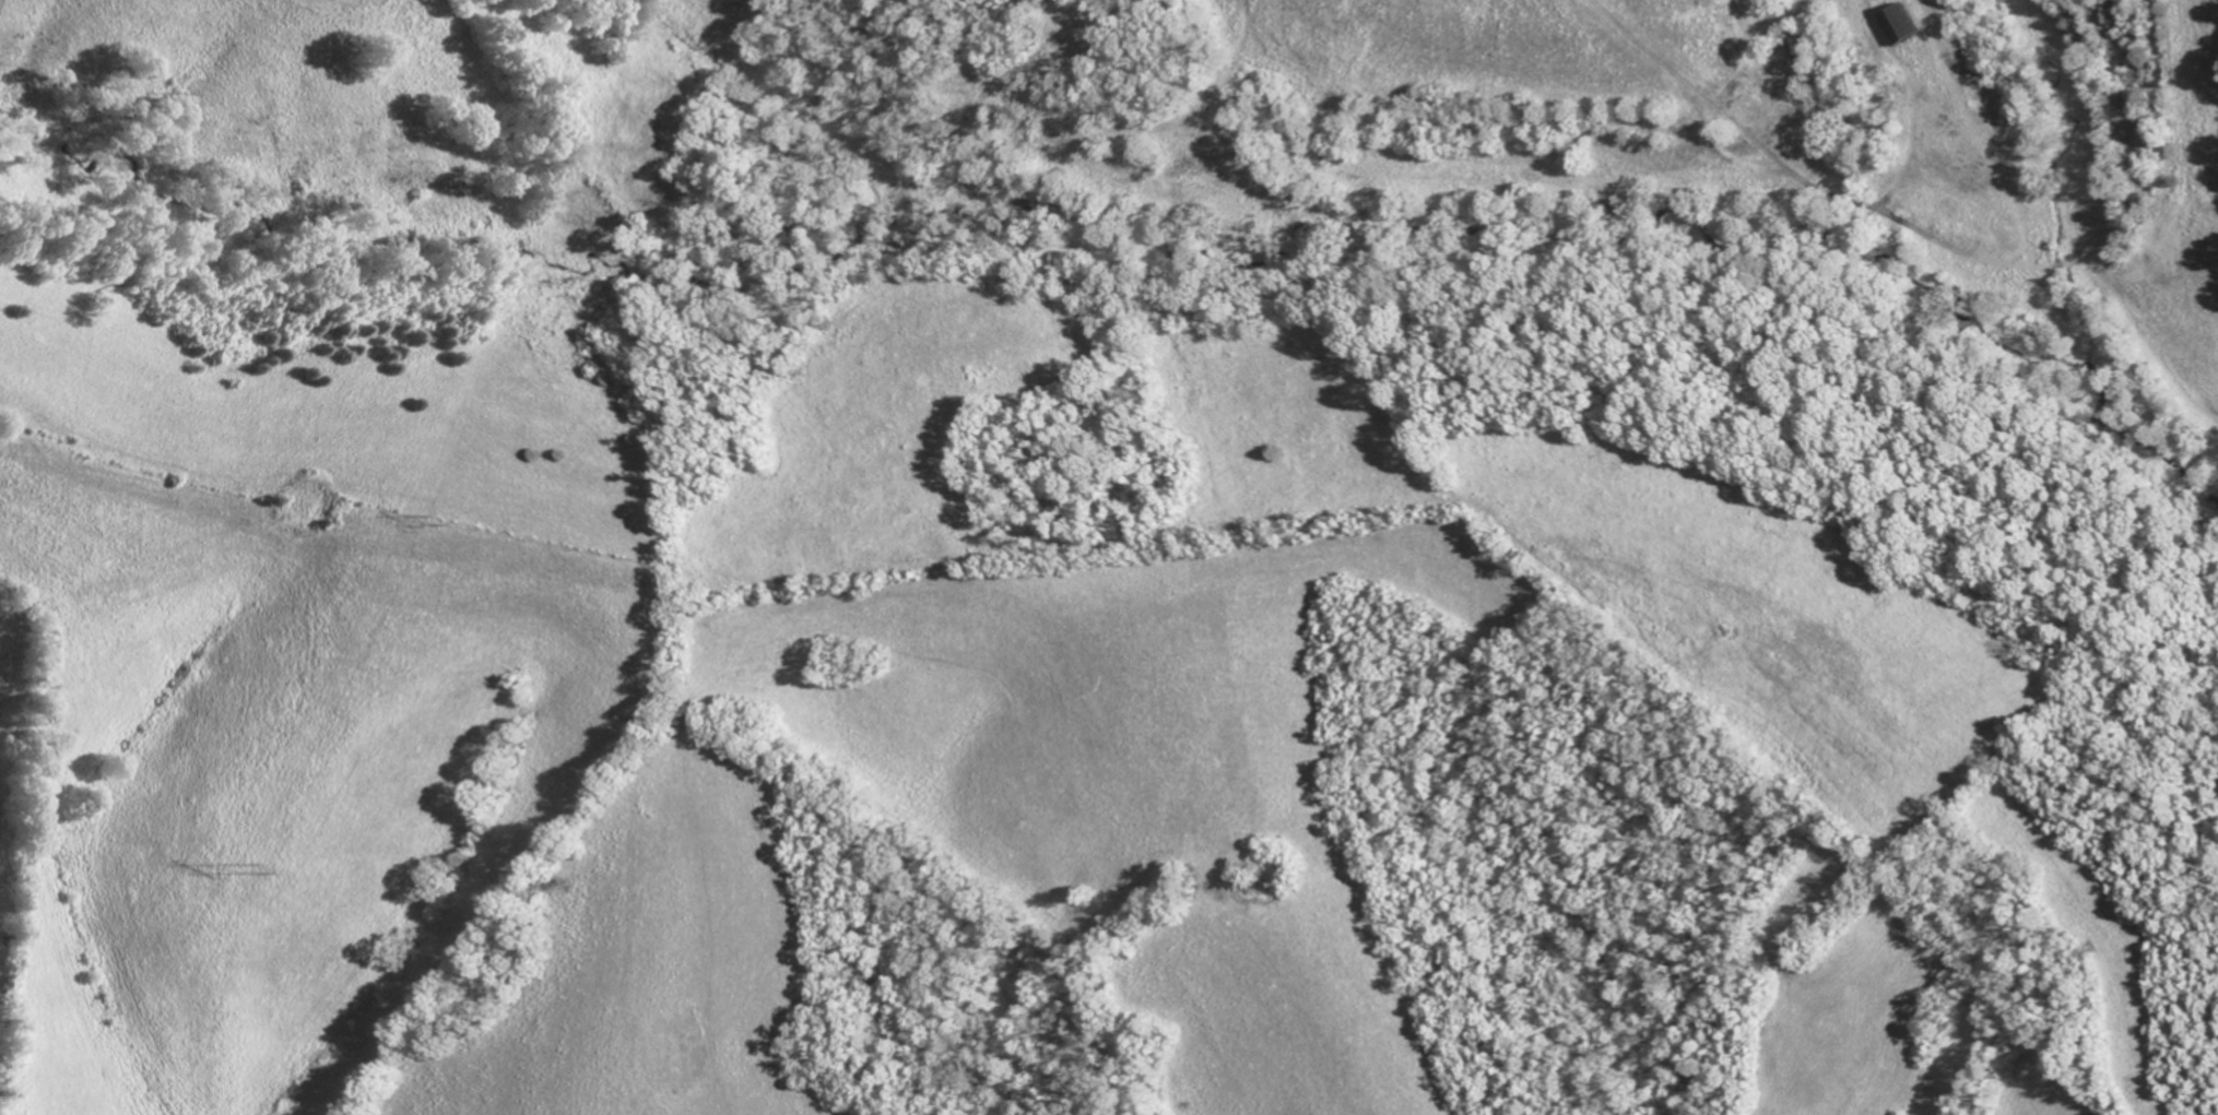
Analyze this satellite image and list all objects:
building: (1908, 23)
power tower: (446, 519)
power tower: (267, 867)

